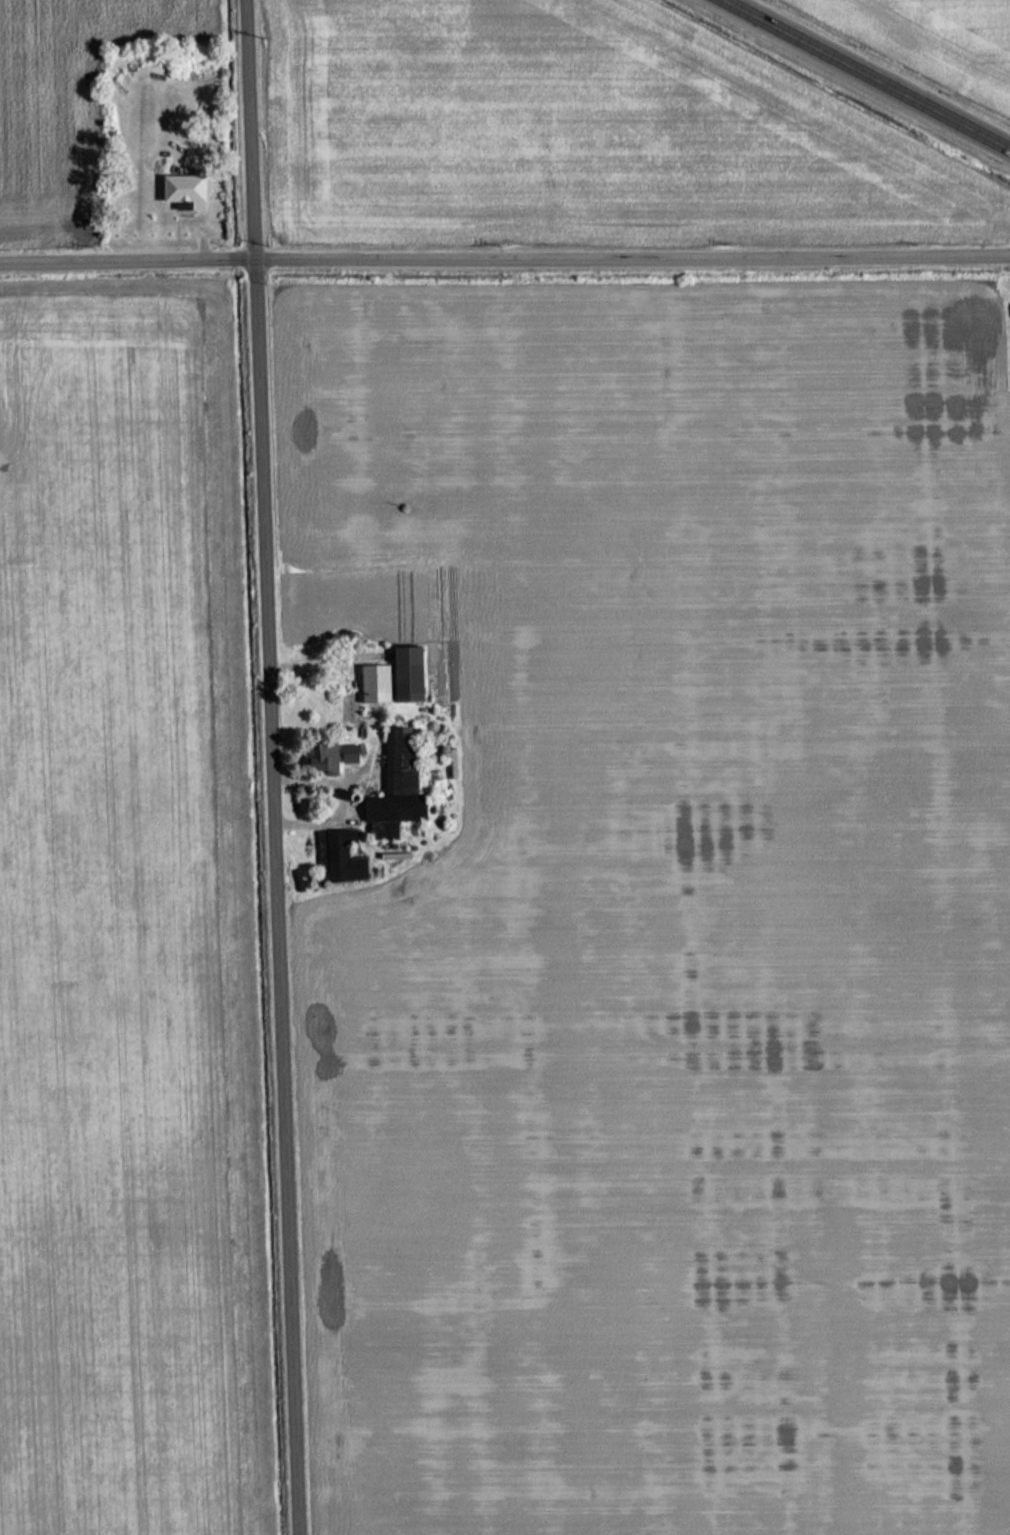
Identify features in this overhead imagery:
crop: (935, 39)
road: (876, 70)
crop: (59, 102)
crop: (575, 129)
building: (180, 188)
road: (504, 252)
building: (372, 684)
building: (326, 757)
road: (274, 767)
building: (390, 791)
building: (337, 859)
crop: (671, 912)
crop: (109, 945)

